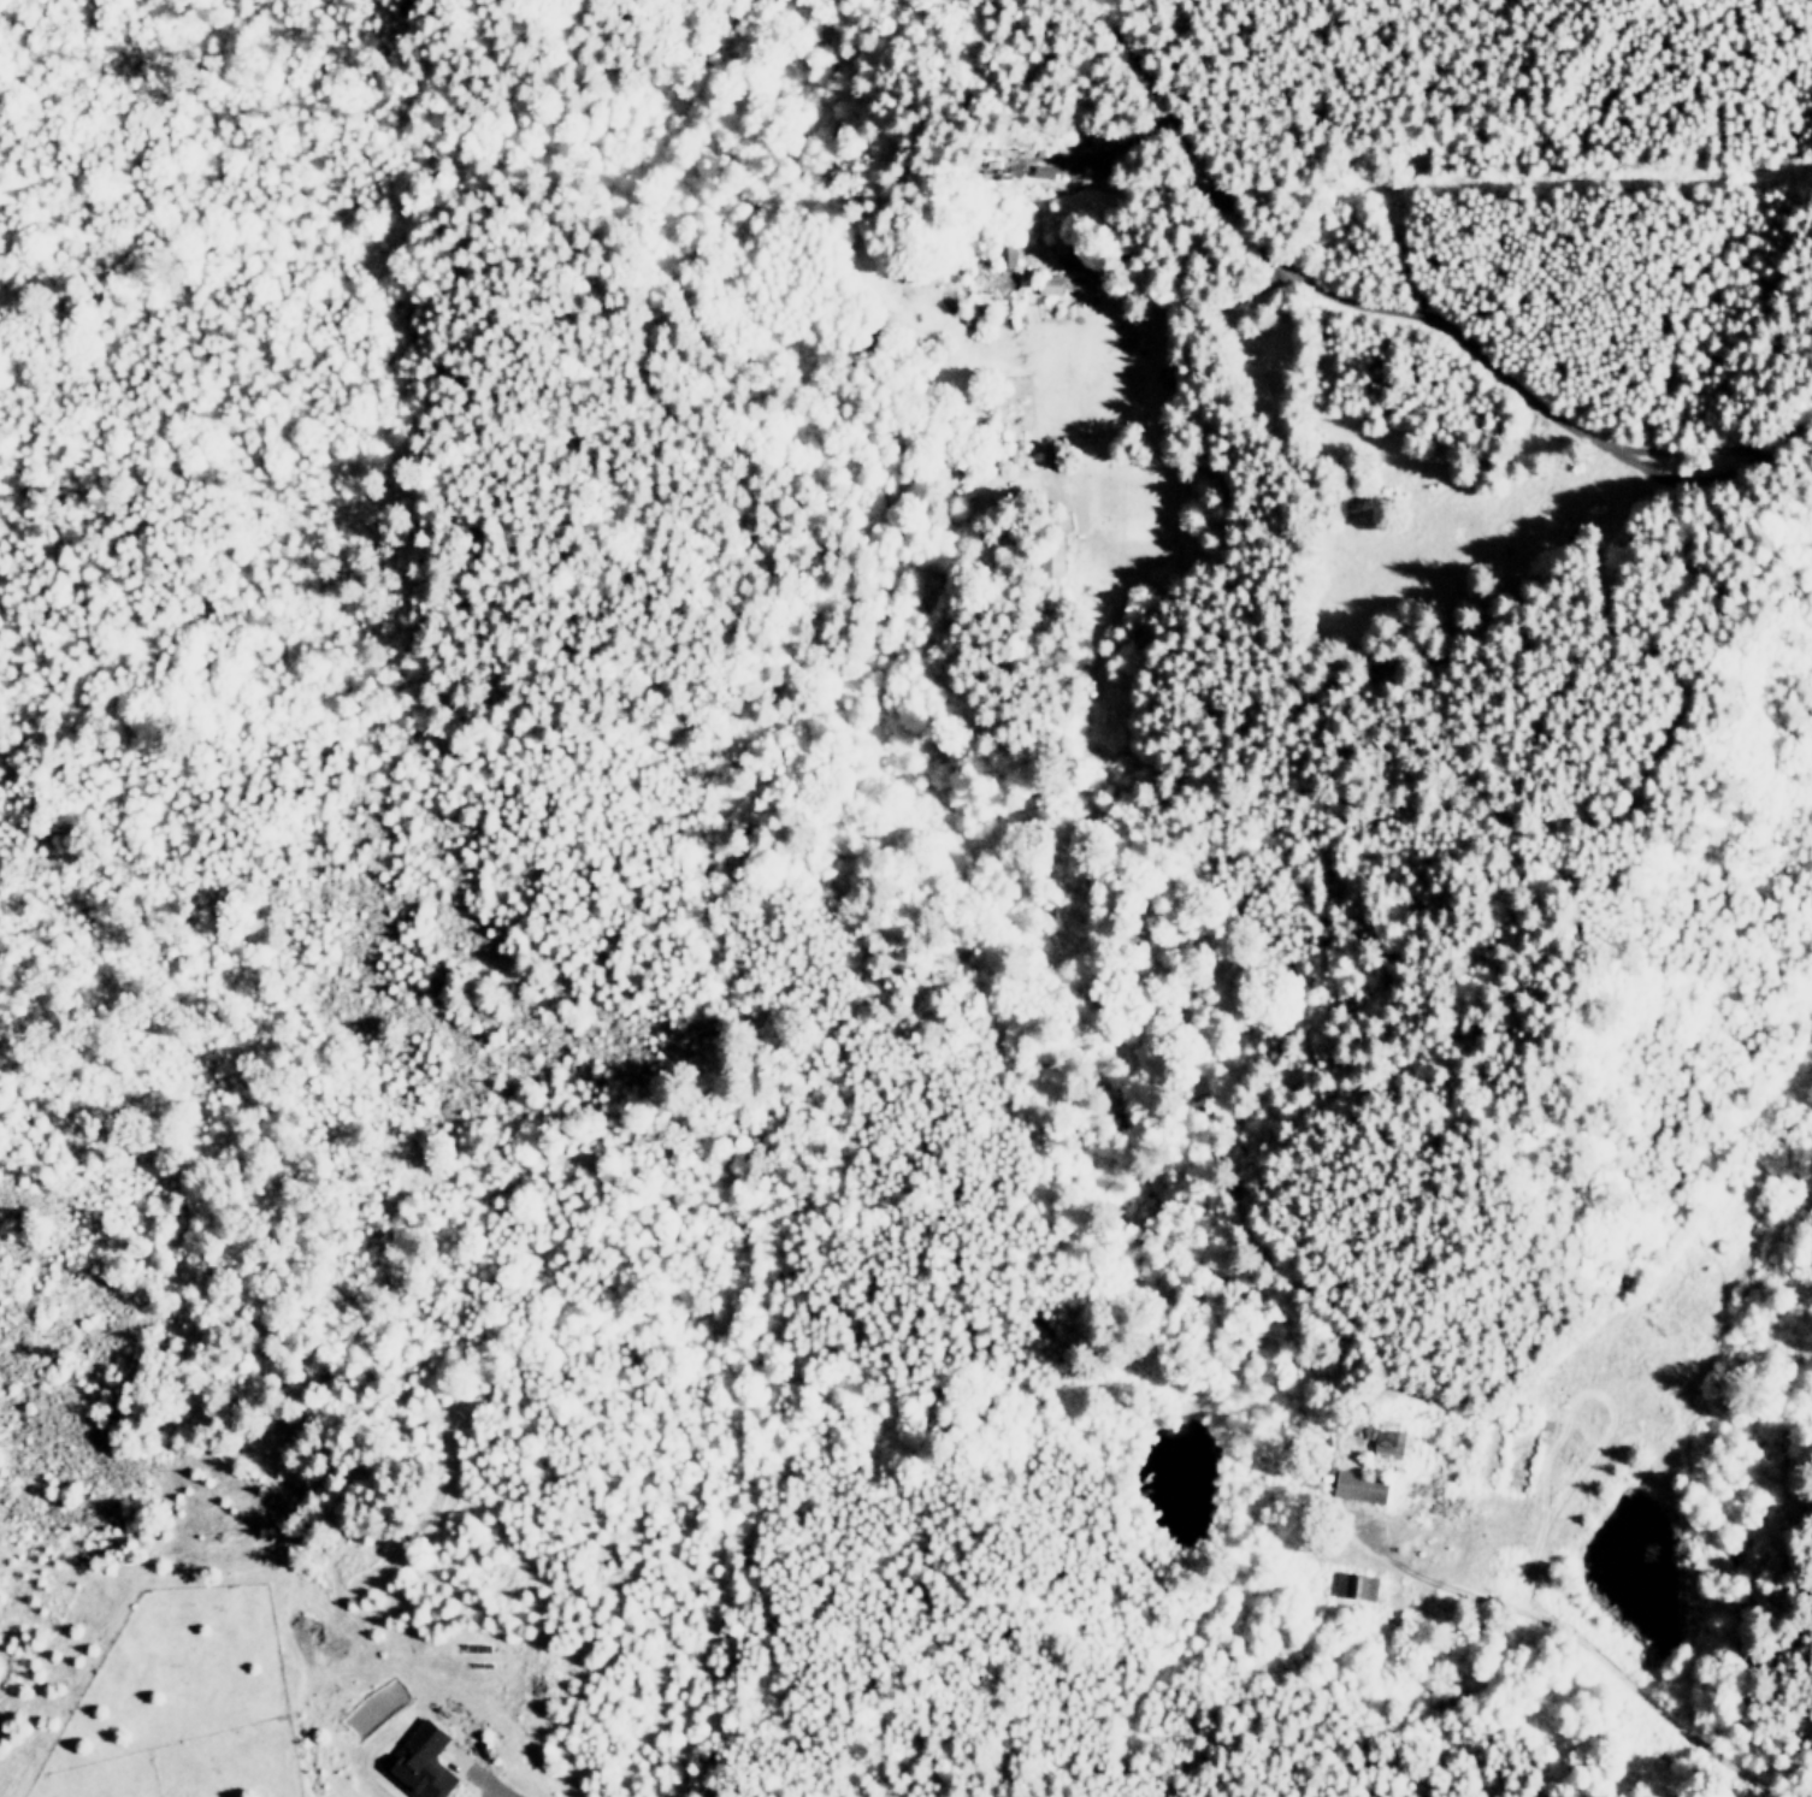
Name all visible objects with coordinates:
road: (1180, 146)
building: (1008, 253)
building: (1073, 259)
building: (1050, 284)
road: (1477, 354)
building: (1386, 1440)
building: (1359, 1486)
building: (1354, 1585)
road: (1578, 1637)
building: (419, 1762)
road: (510, 1790)

